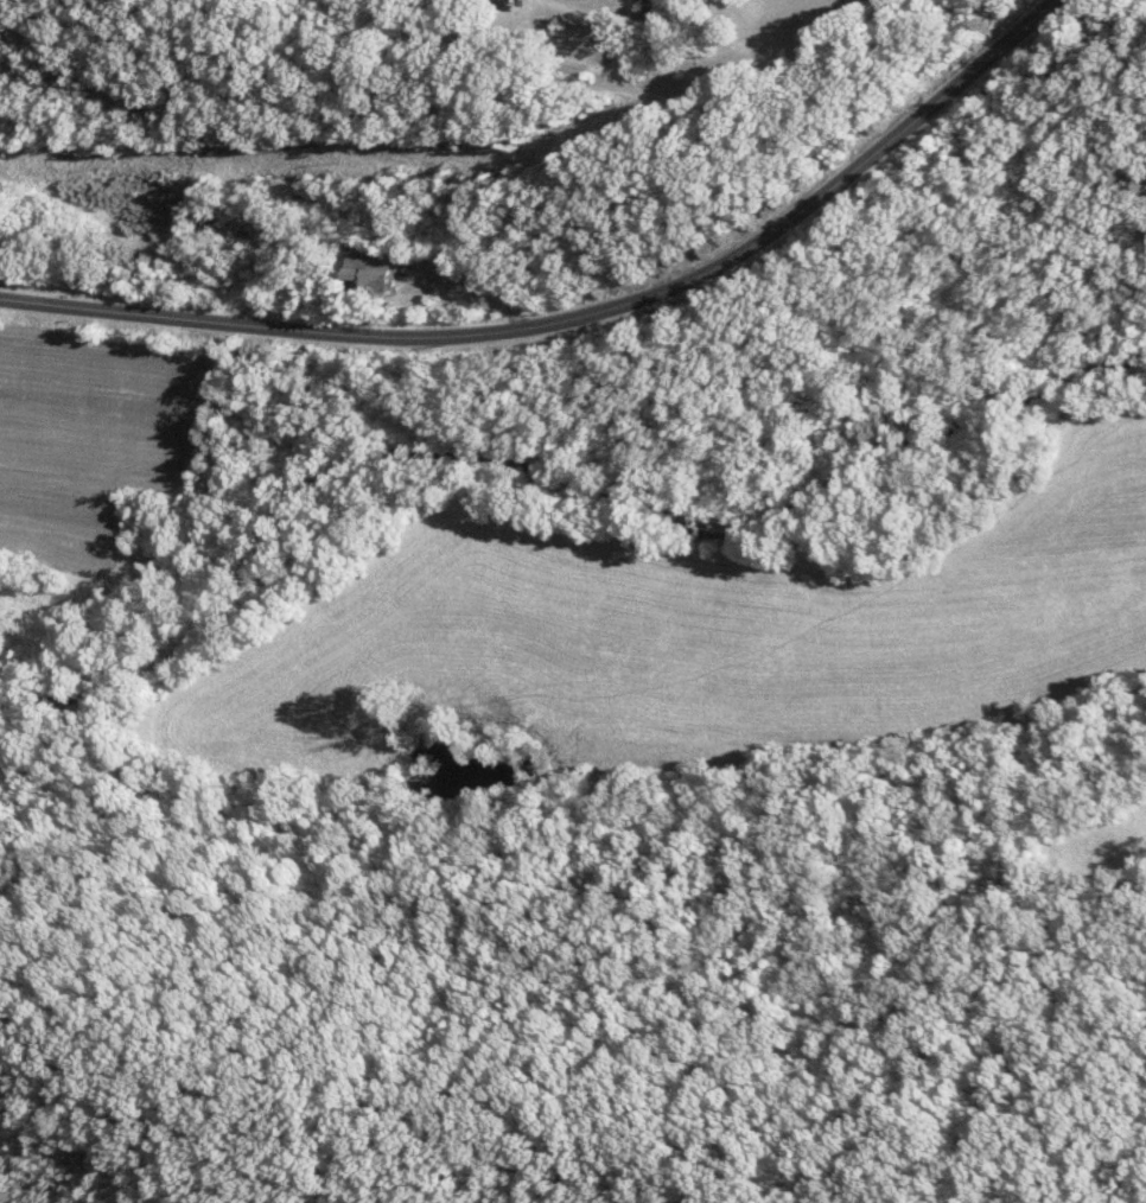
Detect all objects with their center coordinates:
building: (507, 1)
building: (373, 274)
road: (575, 322)

